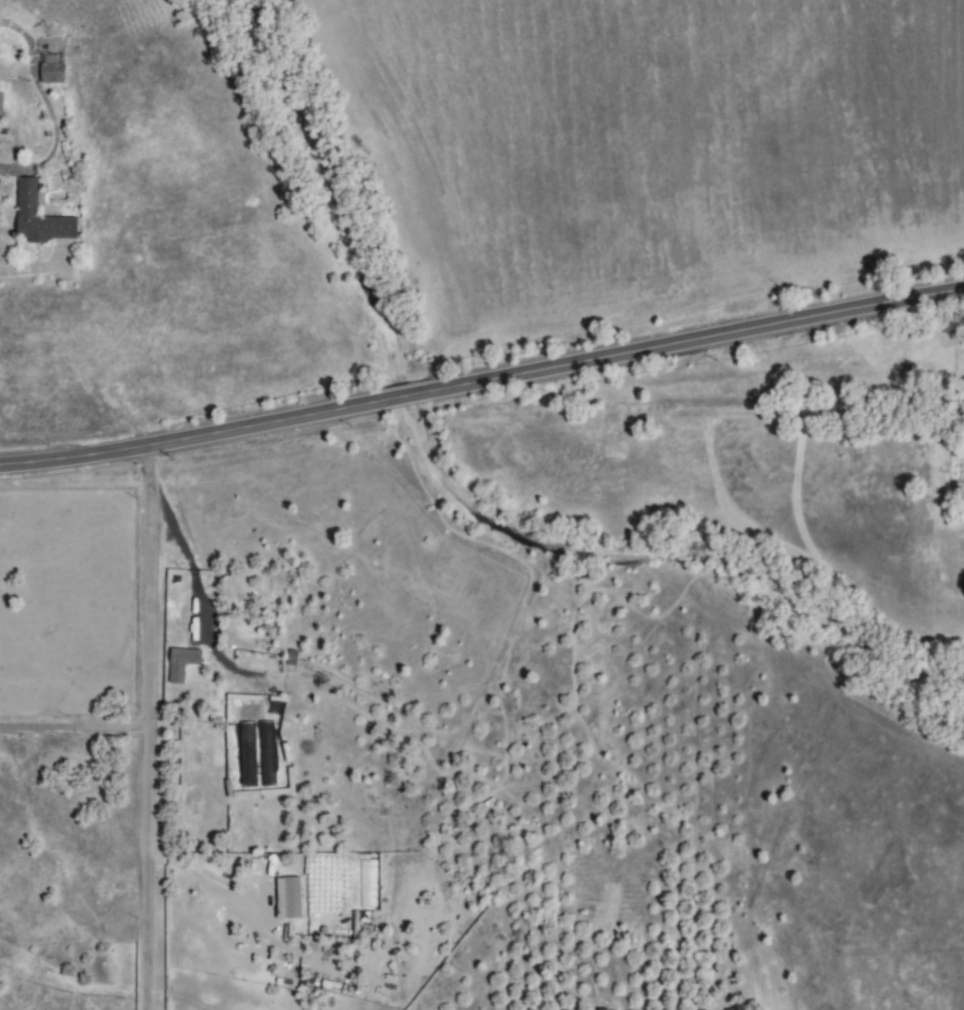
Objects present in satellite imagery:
building: (55, 69)
building: (4, 110)
road: (746, 197)
building: (42, 217)
road: (482, 382)
road: (961, 408)
building: (184, 663)
road: (310, 714)
road: (74, 728)
road: (148, 728)
building: (295, 898)
building: (596, 1009)
building: (730, 1009)

